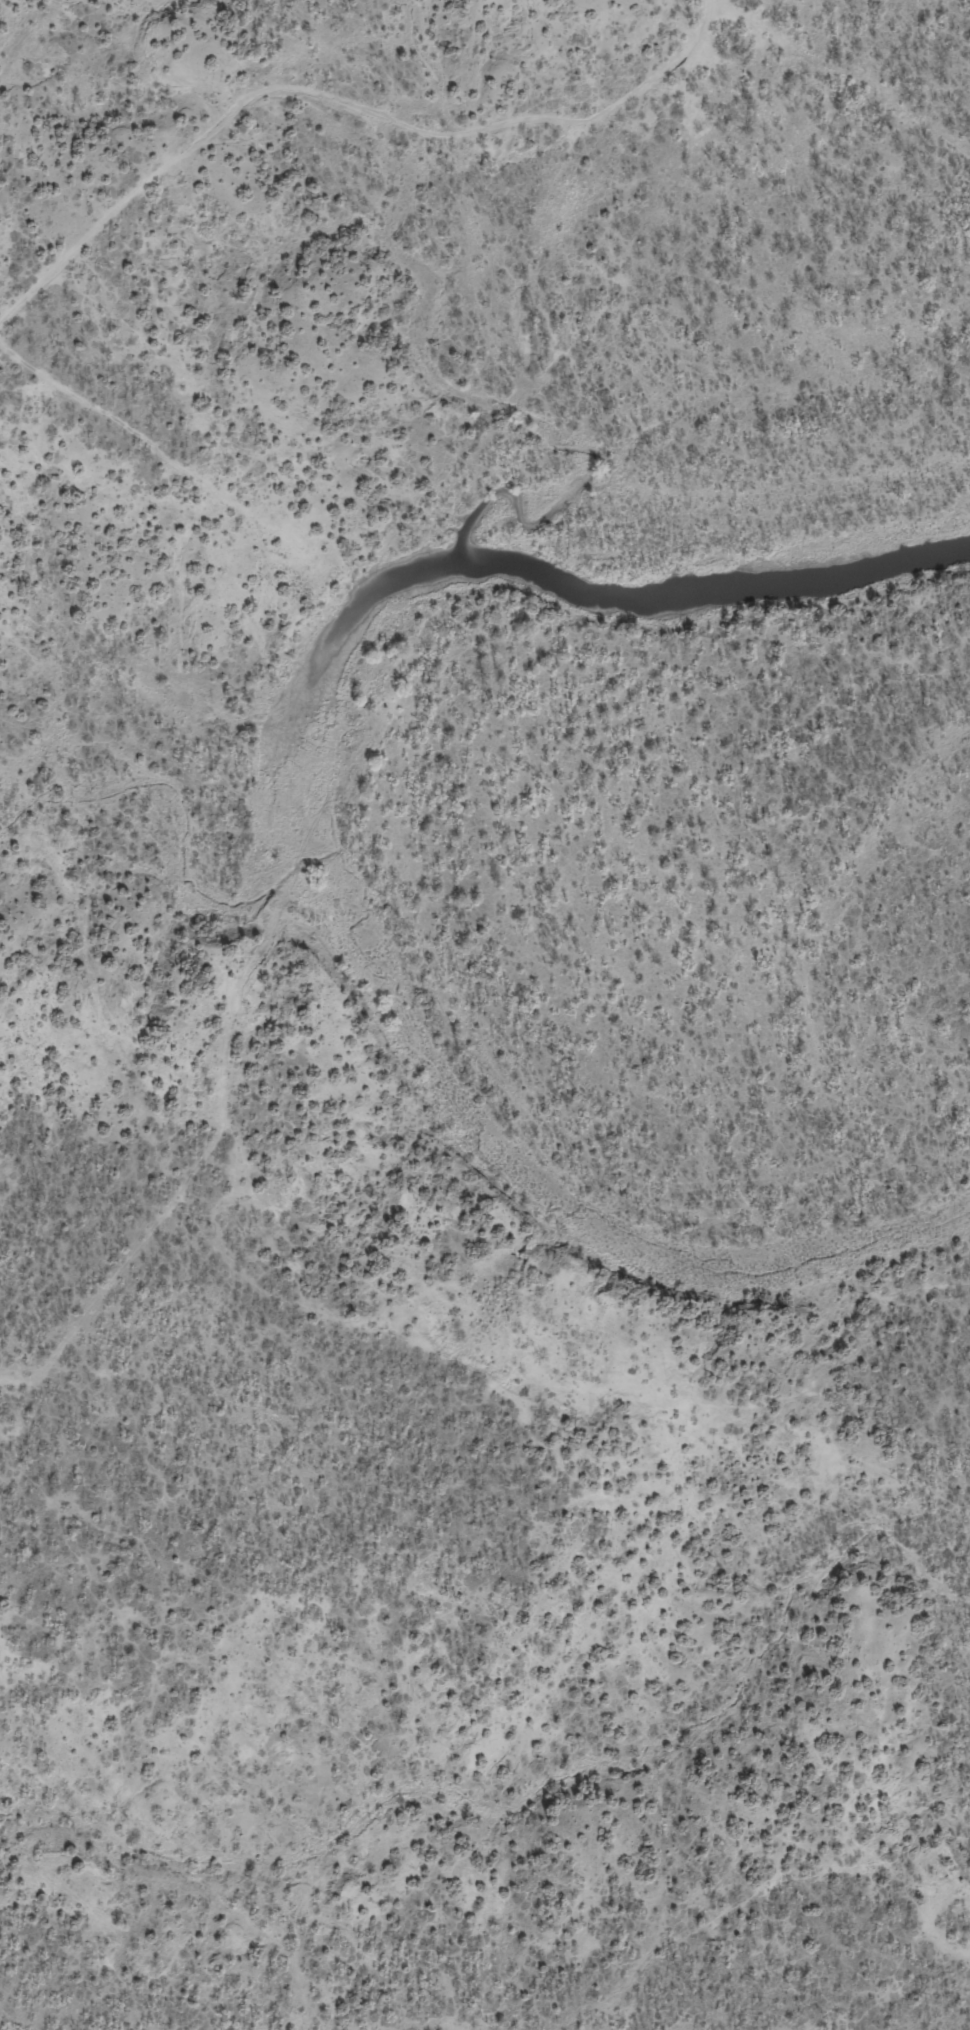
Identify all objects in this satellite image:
road: (290, 111)

